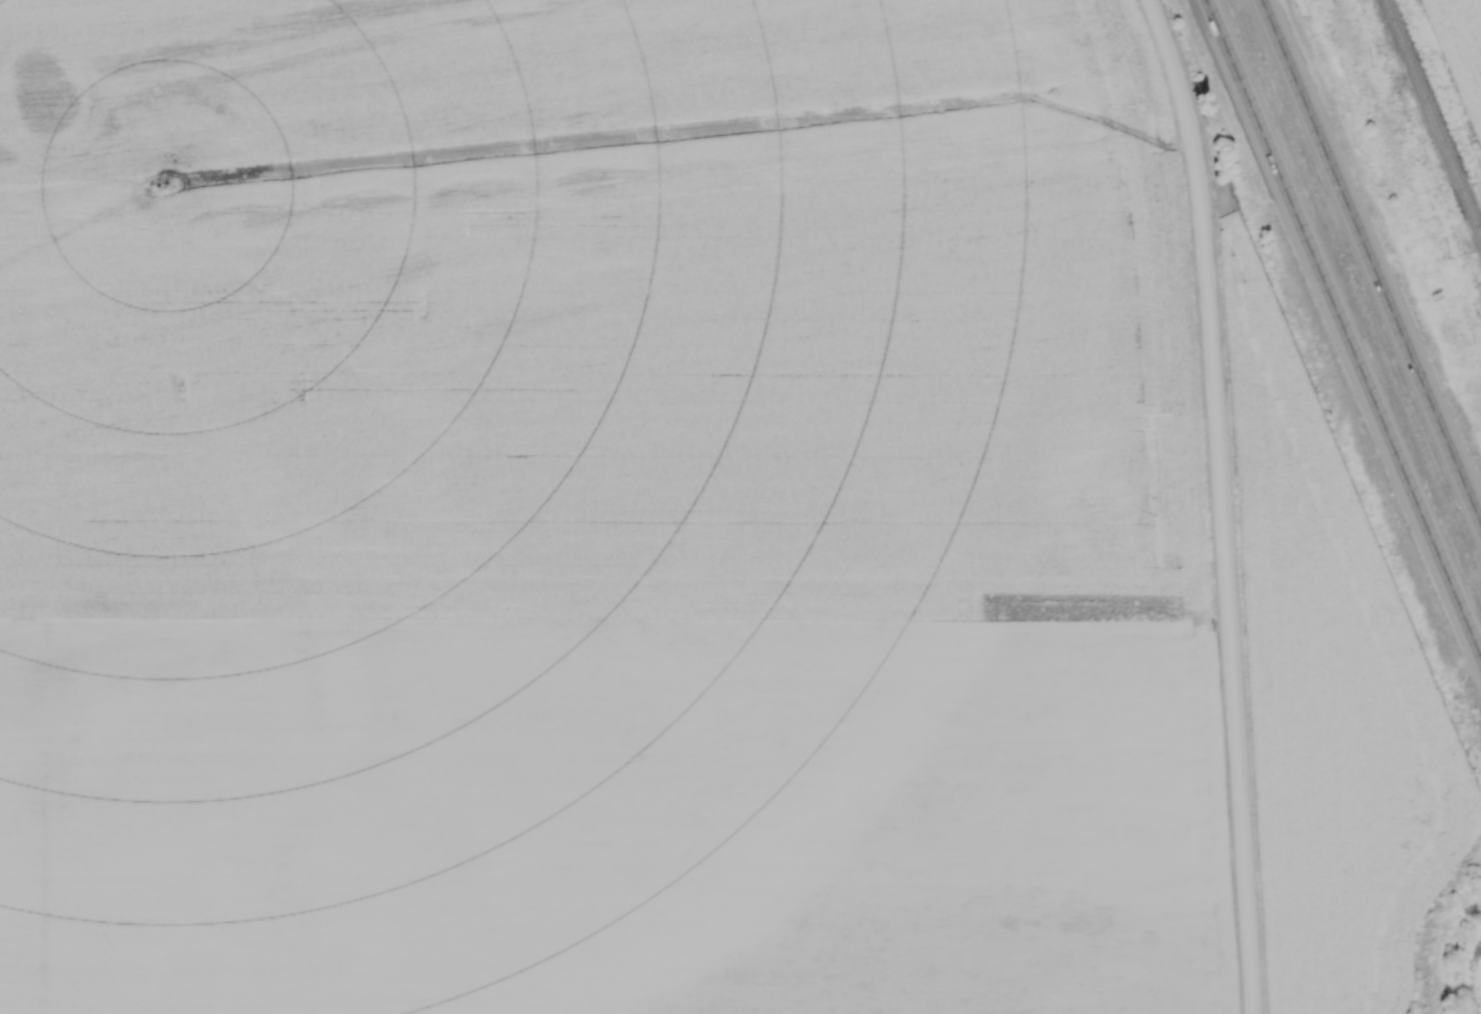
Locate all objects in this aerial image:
railway: (1433, 115)
road: (1370, 262)
road: (1342, 328)
road: (1221, 503)

